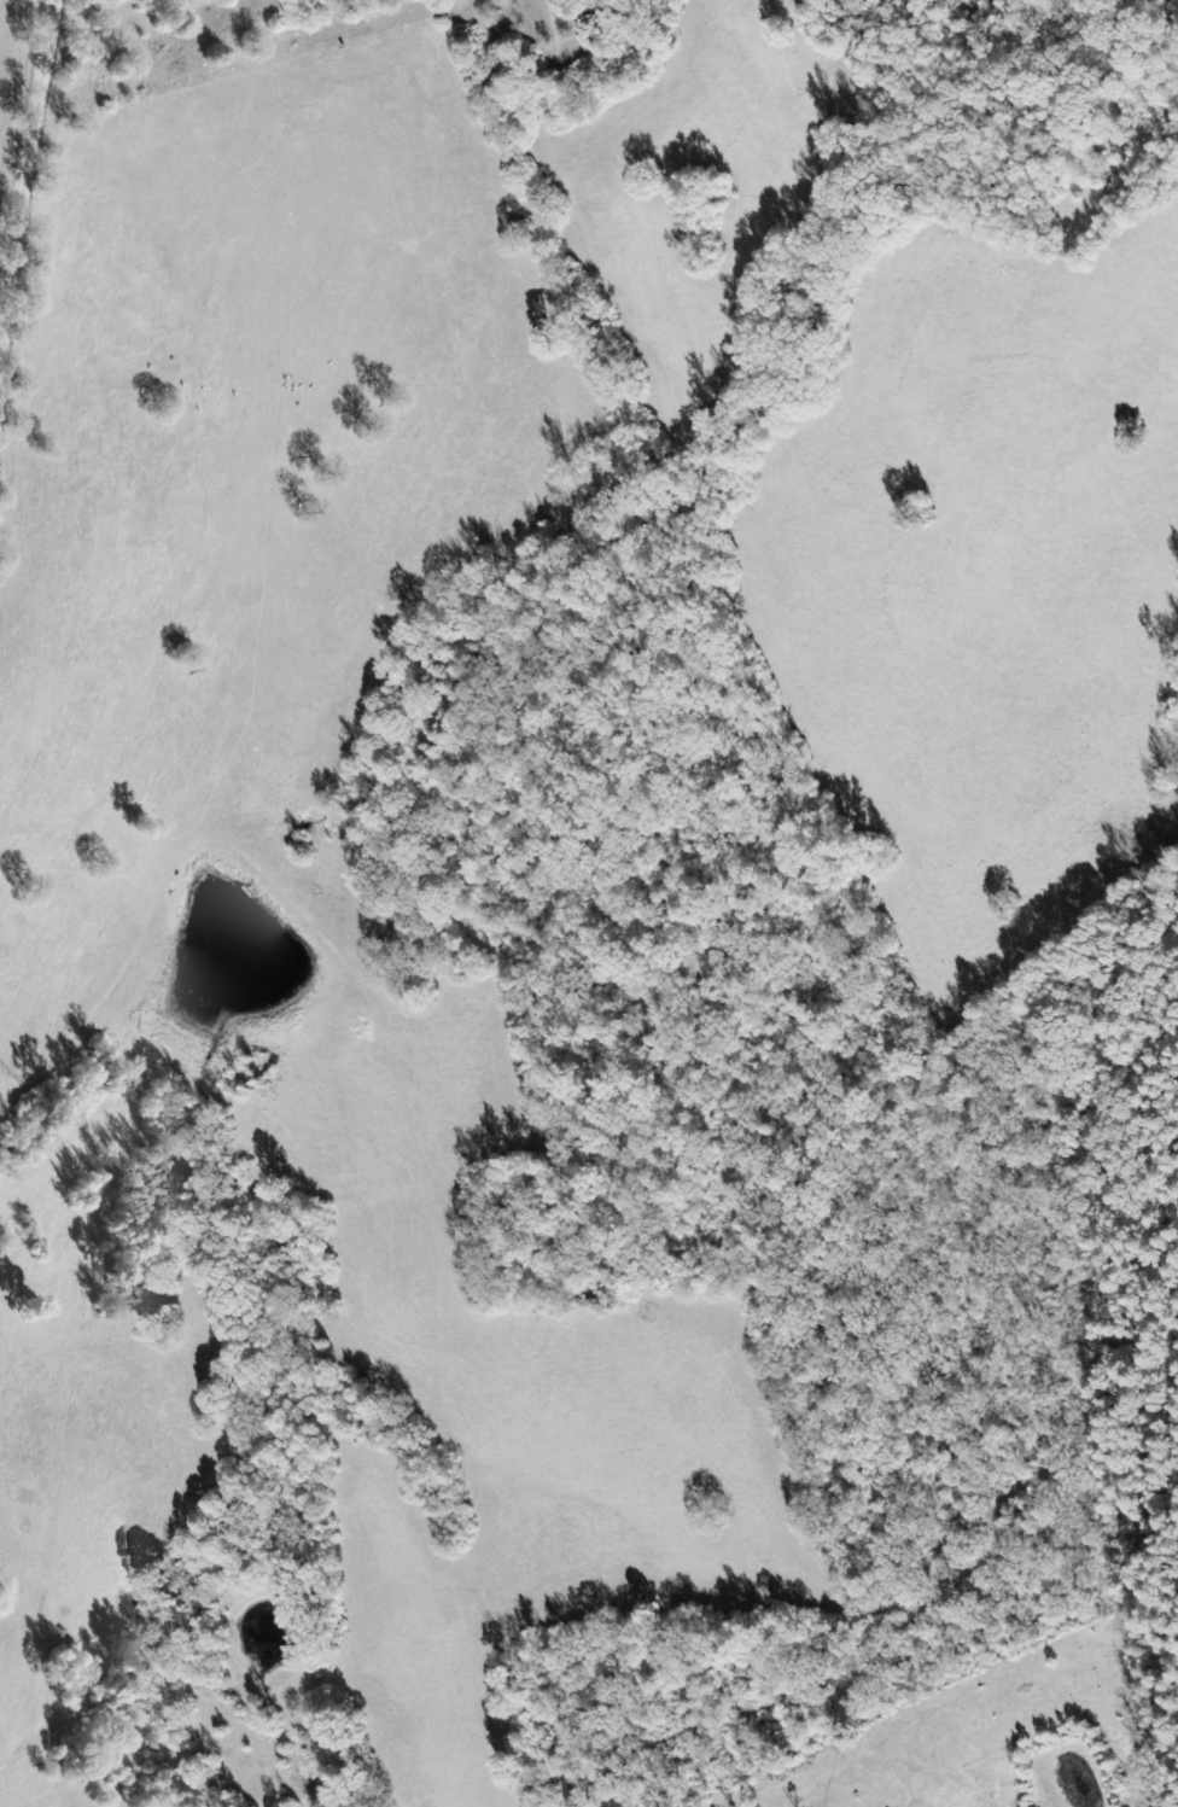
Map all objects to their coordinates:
road: (35, 210)

